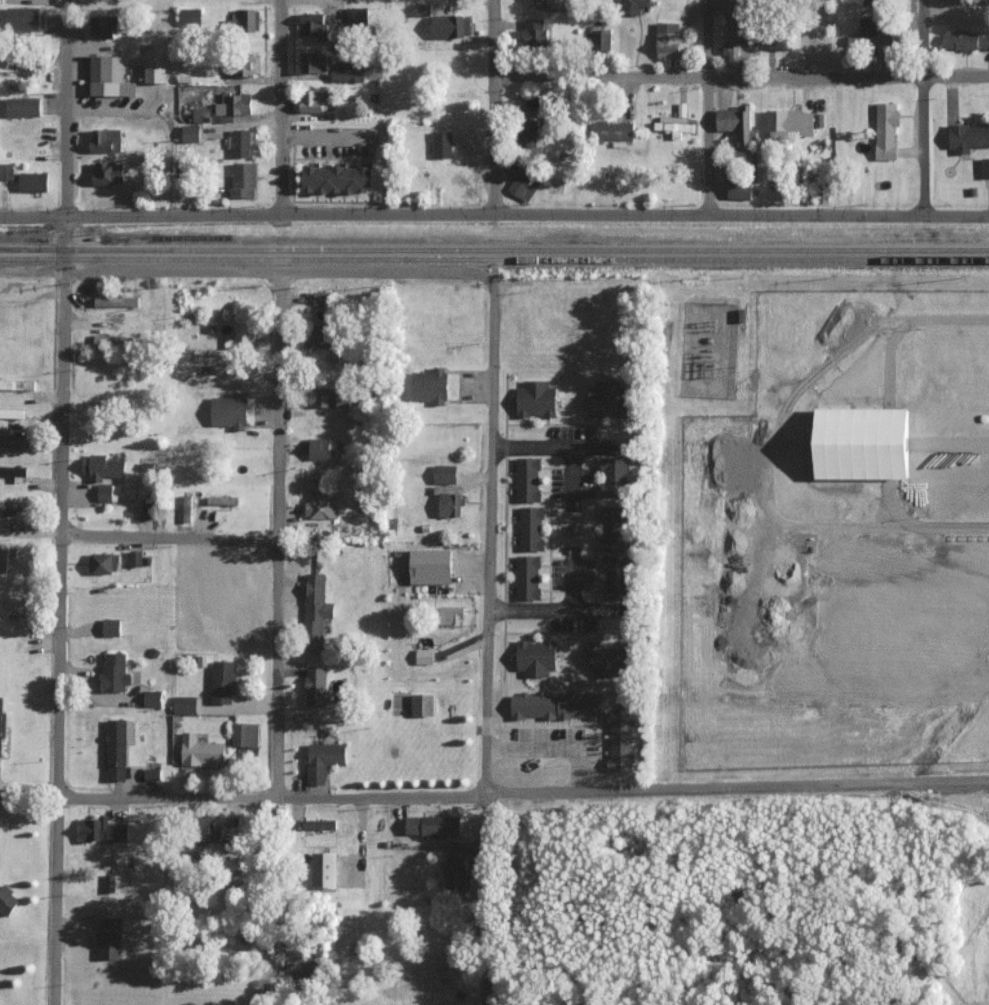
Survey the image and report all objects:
building: (527, 0)
road: (366, 1)
building: (877, 2)
building: (636, 6)
building: (423, 9)
building: (358, 15)
building: (190, 17)
building: (24, 18)
building: (242, 20)
building: (872, 23)
building: (313, 25)
building: (452, 25)
building: (104, 26)
building: (537, 33)
building: (733, 39)
building: (671, 40)
building: (779, 40)
building: (966, 40)
building: (315, 61)
building: (8, 66)
building: (157, 69)
building: (349, 73)
building: (110, 76)
road: (741, 78)
building: (315, 101)
building: (235, 105)
building: (25, 106)
road: (280, 106)
road: (706, 106)
road: (921, 107)
building: (199, 114)
building: (676, 122)
building: (791, 123)
building: (737, 126)
building: (887, 130)
building: (615, 131)
building: (192, 133)
building: (969, 136)
building: (537, 137)
building: (107, 139)
building: (241, 142)
building: (444, 143)
building: (985, 167)
building: (110, 173)
building: (342, 179)
building: (244, 180)
building: (34, 181)
building: (523, 185)
building: (741, 189)
road: (494, 213)
railway: (9, 250)
railway: (494, 250)
railway: (494, 265)
road: (170, 270)
building: (322, 298)
building: (117, 301)
building: (244, 334)
building: (115, 340)
power substation: (709, 349)
building: (222, 368)
building: (17, 384)
building: (431, 385)
building: (333, 397)
road: (493, 398)
building: (610, 398)
building: (537, 399)
building: (232, 410)
building: (12, 413)
parking lot: (574, 433)
building: (12, 440)
building: (865, 444)
road: (552, 446)
building: (322, 448)
building: (106, 467)
building: (13, 470)
building: (446, 473)
road: (570, 476)
building: (614, 477)
building: (529, 479)
parking lot: (573, 486)
building: (105, 492)
building: (450, 501)
road: (60, 502)
building: (12, 505)
building: (323, 508)
building: (148, 510)
building: (532, 528)
building: (613, 528)
road: (272, 534)
road: (166, 541)
building: (4, 558)
building: (136, 558)
building: (104, 563)
building: (433, 566)
parking lot: (573, 571)
building: (528, 577)
building: (617, 577)
road: (572, 579)
building: (15, 608)
road: (542, 608)
building: (317, 611)
building: (451, 615)
parking lot: (573, 625)
building: (112, 627)
building: (425, 656)
building: (537, 657)
building: (608, 657)
building: (115, 672)
building: (223, 681)
building: (317, 686)
building: (153, 698)
building: (185, 704)
building: (424, 705)
building: (557, 705)
building: (2, 725)
building: (621, 738)
building: (245, 739)
building: (117, 749)
building: (202, 750)
building: (324, 761)
building: (153, 774)
road: (524, 794)
building: (320, 823)
building: (434, 825)
building: (211, 829)
building: (103, 830)
building: (458, 865)
building: (326, 870)
building: (110, 883)
building: (8, 900)
road: (488, 900)
building: (110, 937)

